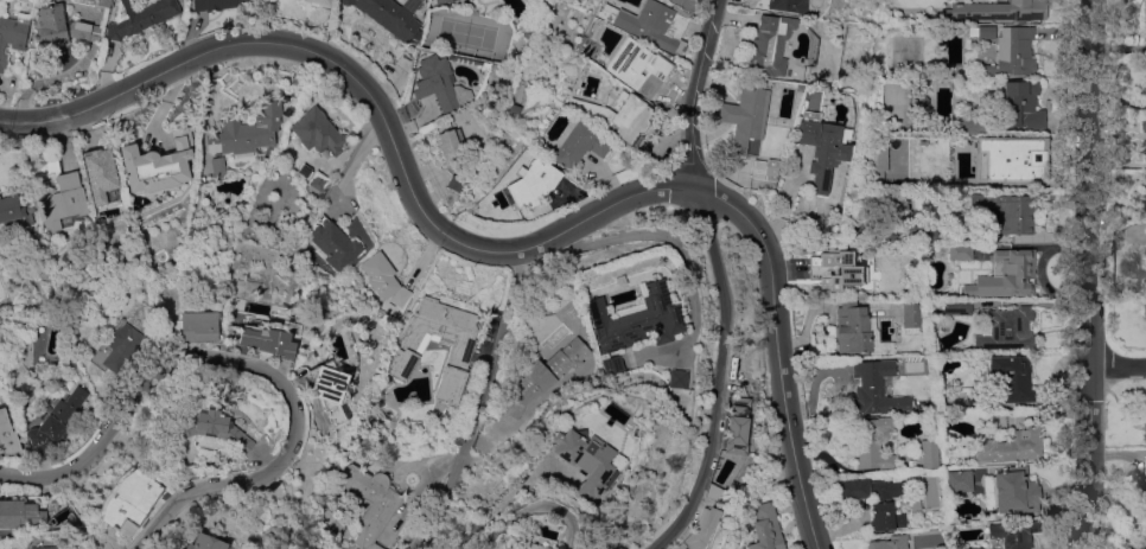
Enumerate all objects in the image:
building: (320, 1)
building: (441, 1)
building: (104, 2)
building: (215, 4)
building: (686, 5)
building: (787, 5)
building: (1000, 9)
building: (390, 15)
building: (139, 17)
building: (650, 23)
building: (1145, 23)
building: (61, 26)
building: (529, 28)
building: (981, 31)
building: (12, 37)
building: (768, 45)
road: (303, 46)
building: (1013, 52)
building: (637, 68)
building: (439, 83)
building: (1145, 88)
road: (690, 91)
building: (1023, 106)
building: (512, 110)
building: (743, 115)
building: (617, 116)
building: (974, 123)
building: (1145, 126)
building: (317, 130)
building: (247, 132)
building: (579, 145)
building: (450, 146)
building: (822, 147)
building: (1145, 147)
building: (1012, 159)
road: (355, 160)
building: (877, 160)
building: (158, 162)
building: (953, 166)
building: (764, 168)
building: (102, 175)
road: (1089, 181)
building: (317, 183)
building: (531, 183)
building: (1145, 190)
road: (701, 192)
building: (63, 200)
building: (14, 211)
building: (1006, 212)
road: (601, 213)
building: (909, 234)
road: (675, 242)
building: (333, 243)
building: (959, 251)
building: (836, 269)
building: (1005, 275)
building: (383, 281)
building: (957, 306)
building: (177, 307)
building: (1145, 307)
building: (911, 314)
building: (635, 320)
building: (198, 326)
building: (853, 328)
building: (1006, 330)
building: (267, 338)
building: (117, 346)
building: (406, 357)
road: (176, 360)
road: (782, 362)
building: (284, 363)
building: (610, 364)
road: (1116, 364)
building: (542, 375)
building: (471, 377)
building: (1012, 377)
building: (675, 378)
building: (122, 382)
road: (722, 382)
building: (870, 388)
building: (329, 389)
building: (967, 401)
road: (475, 407)
building: (1145, 415)
building: (53, 421)
building: (998, 421)
building: (736, 424)
building: (212, 427)
building: (7, 434)
building: (873, 442)
building: (1010, 445)
building: (930, 453)
road: (1088, 457)
building: (581, 460)
building: (1145, 460)
building: (960, 480)
building: (1145, 485)
building: (855, 489)
building: (1012, 490)
road: (187, 491)
building: (128, 500)
building: (370, 500)
building: (57, 503)
building: (887, 503)
road: (527, 507)
building: (20, 513)
building: (766, 528)
building: (699, 529)
building: (1017, 532)
building: (203, 542)
building: (534, 542)
building: (890, 542)
building: (1140, 545)
building: (42, 547)
building: (319, 548)
building: (511, 548)
building: (970, 548)

